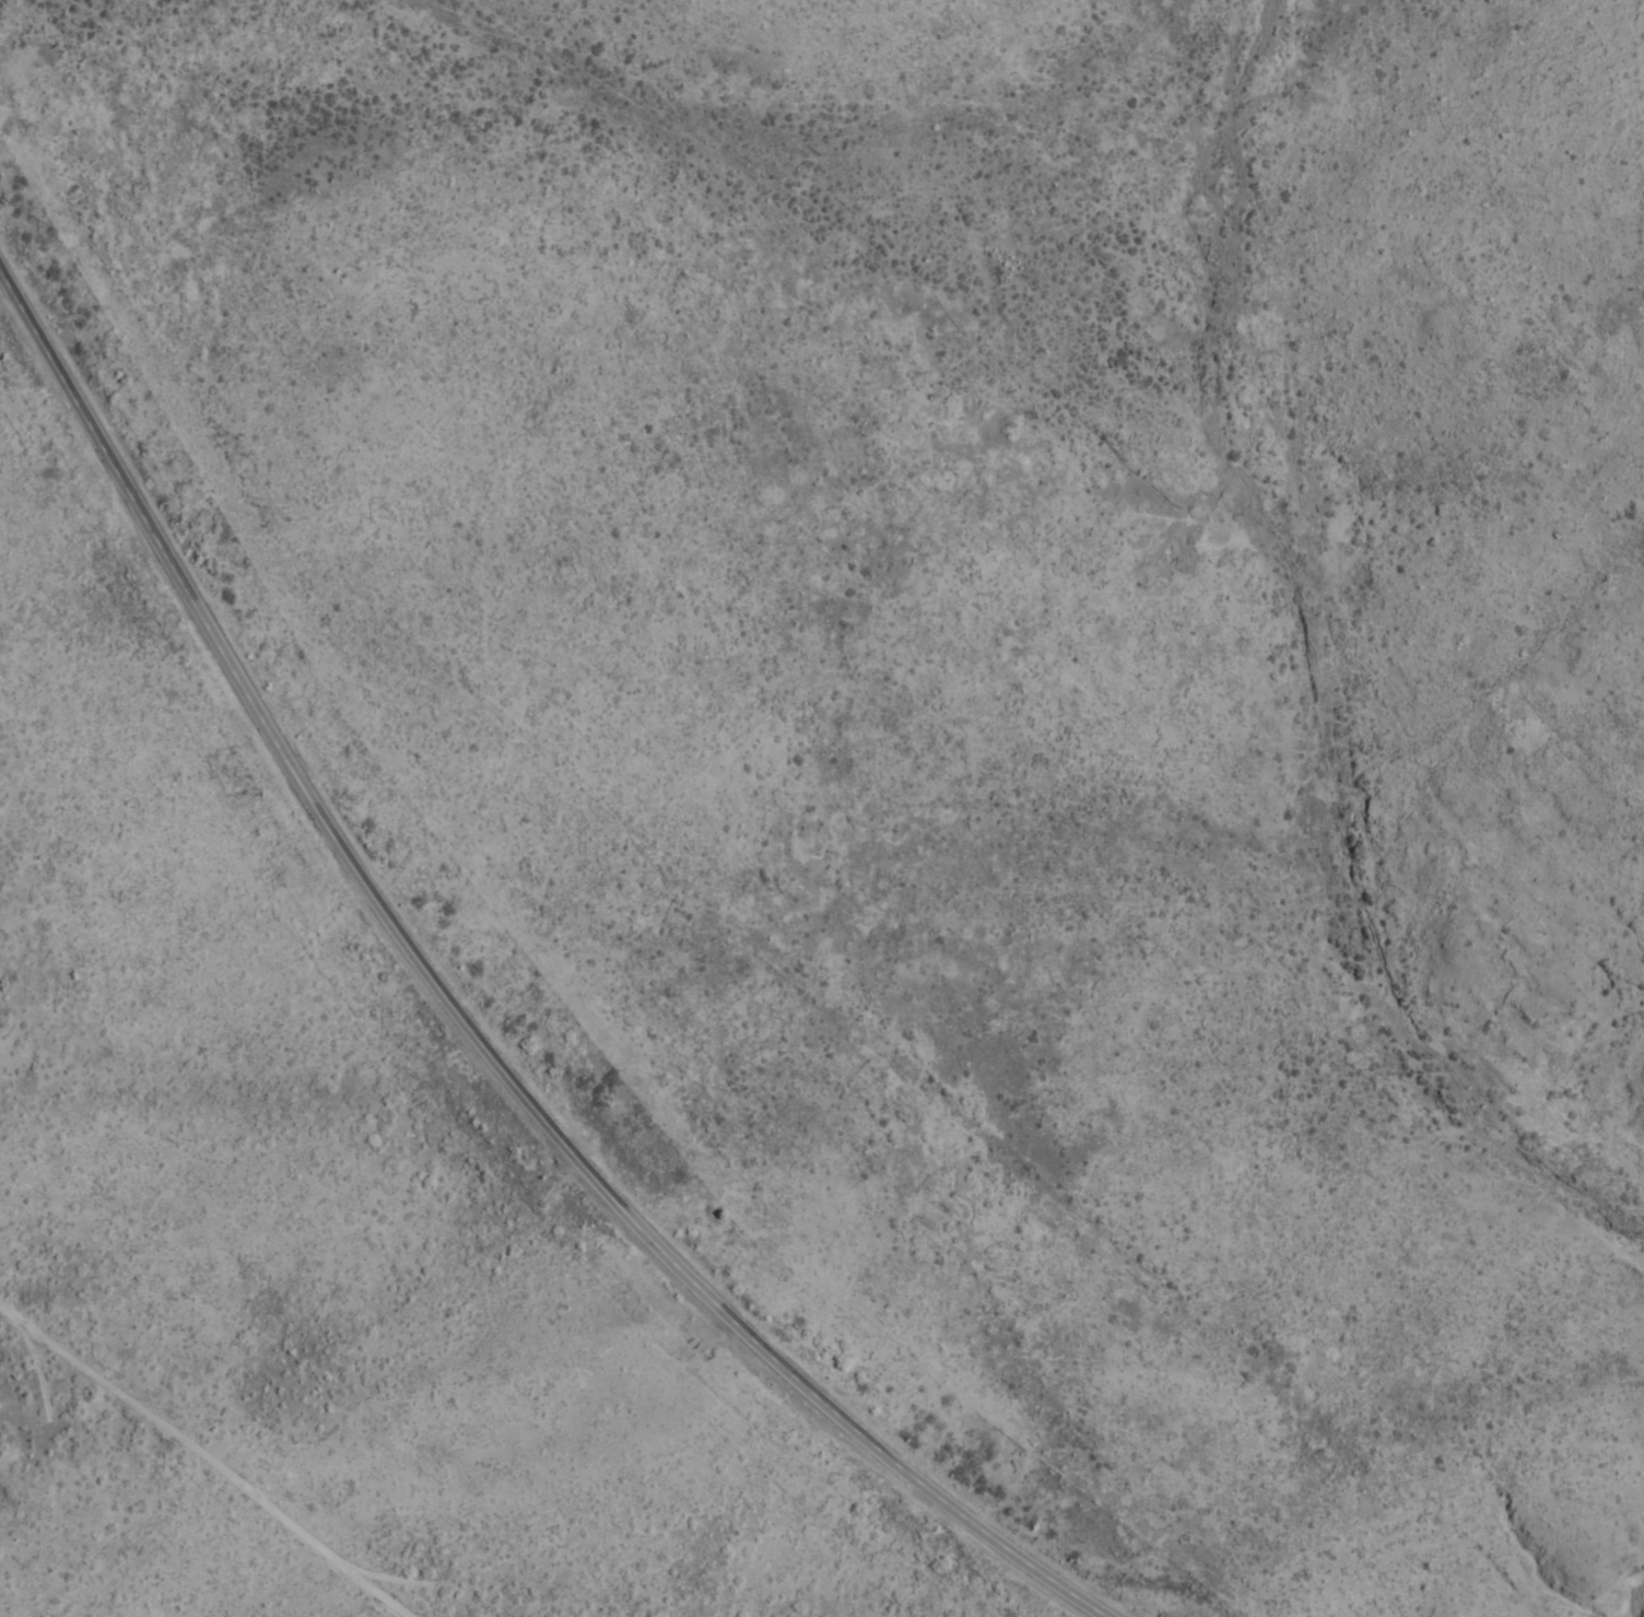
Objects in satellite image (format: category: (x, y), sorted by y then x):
road: (461, 1021)

